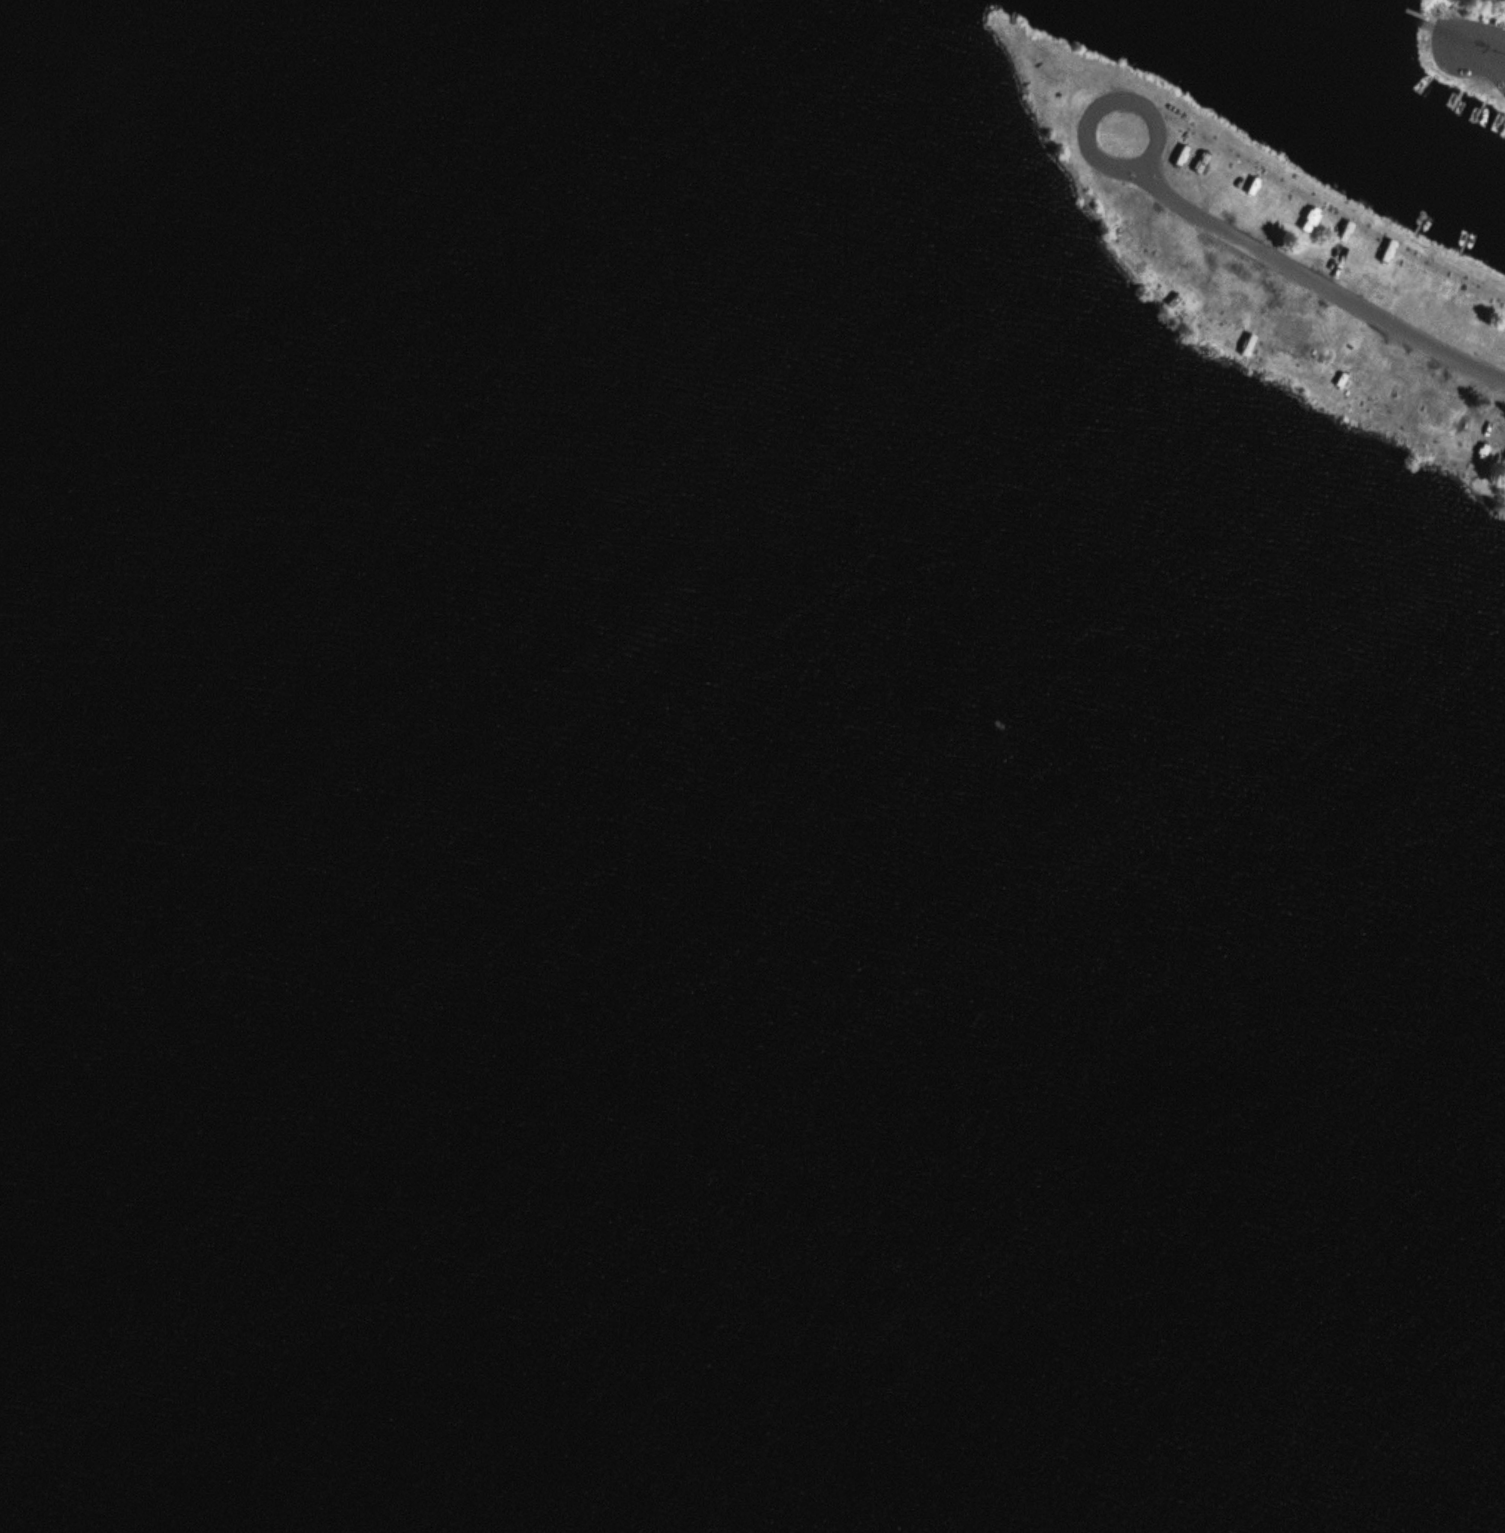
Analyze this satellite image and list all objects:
road: (1490, 61)
road: (1311, 195)

